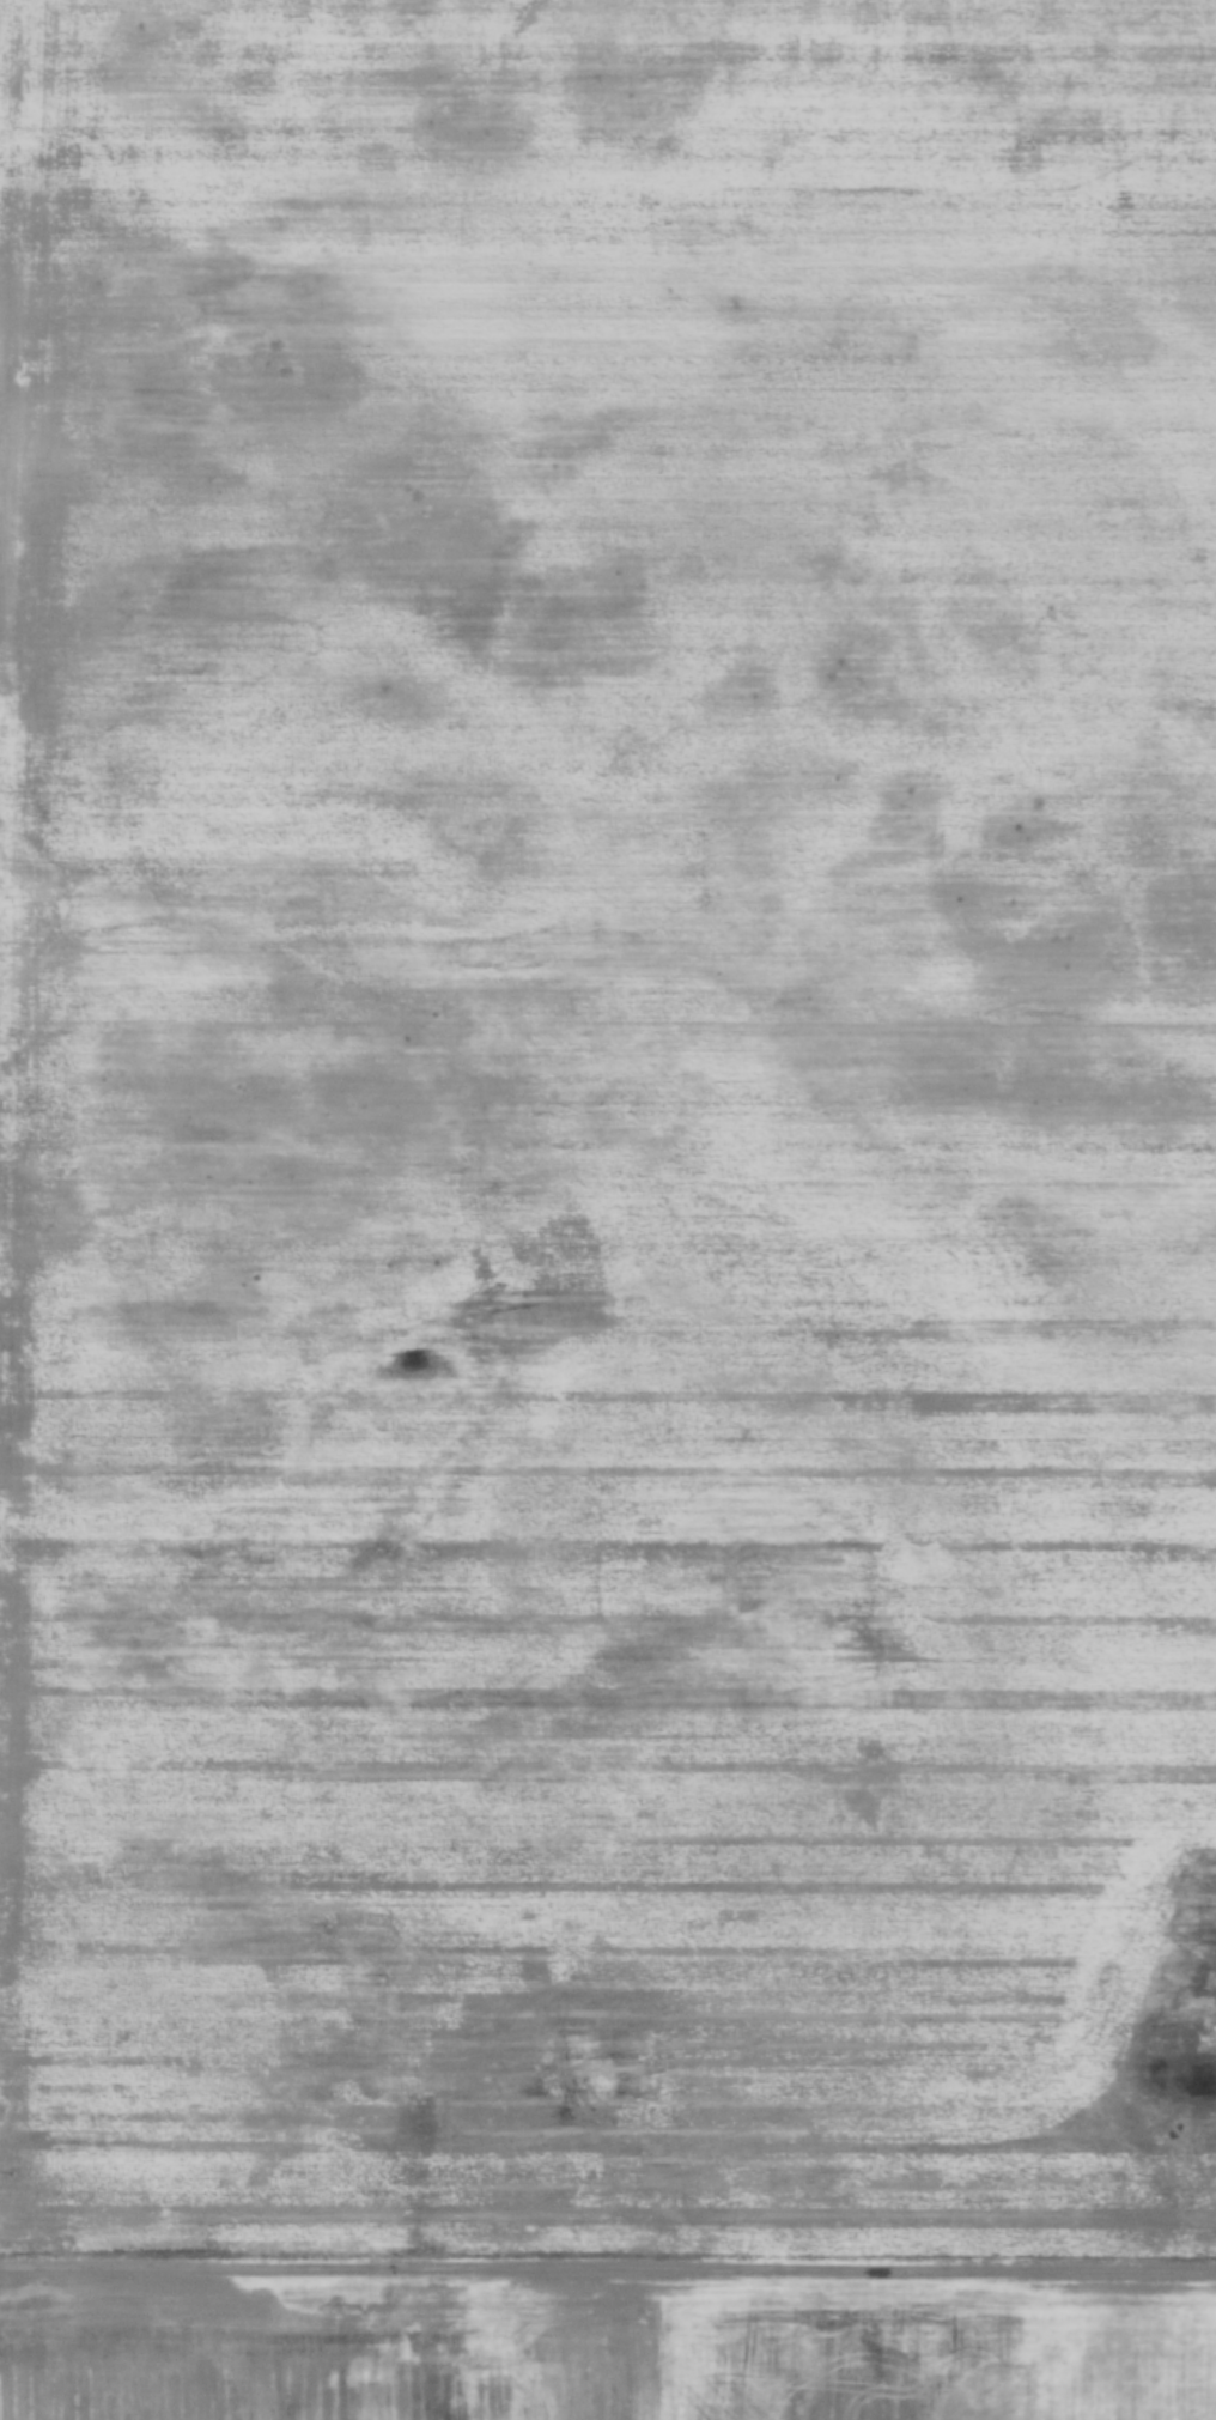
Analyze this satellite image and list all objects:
road: (607, 2267)

